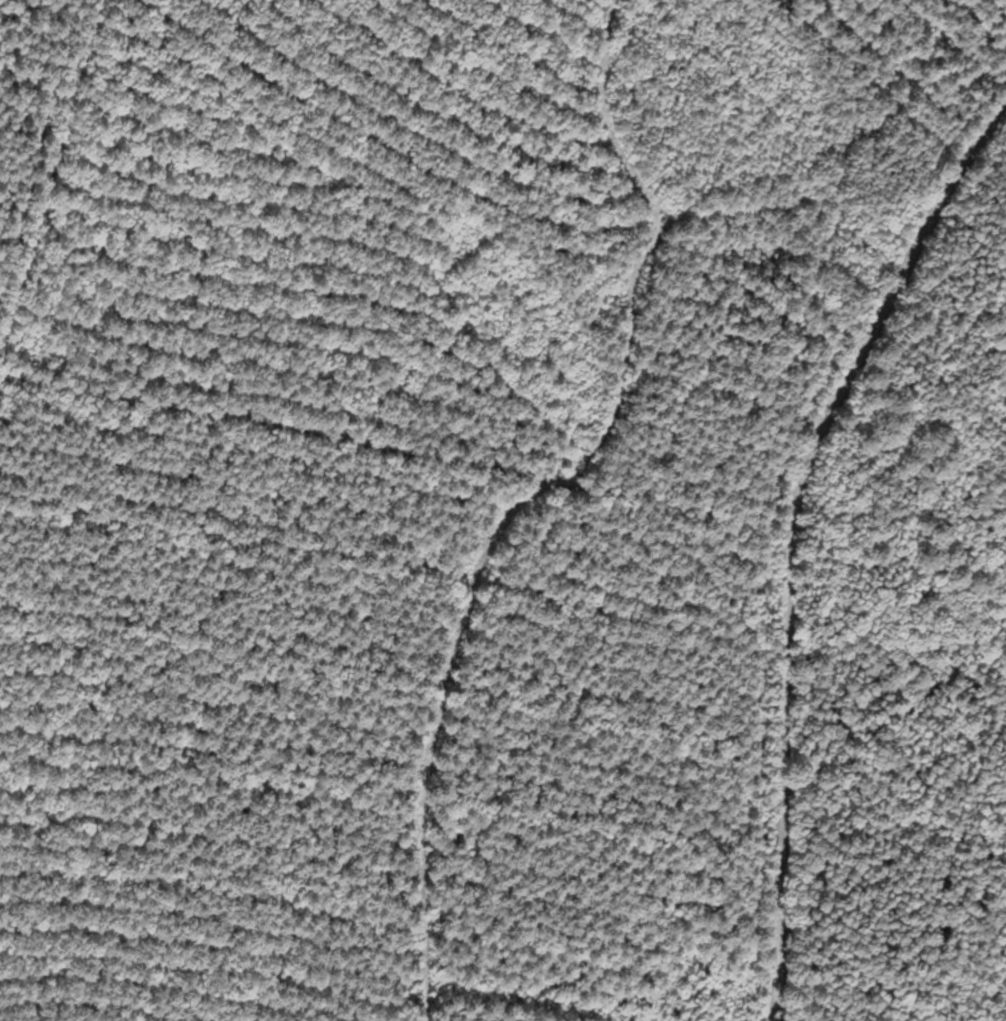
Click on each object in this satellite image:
road: (791, 536)

